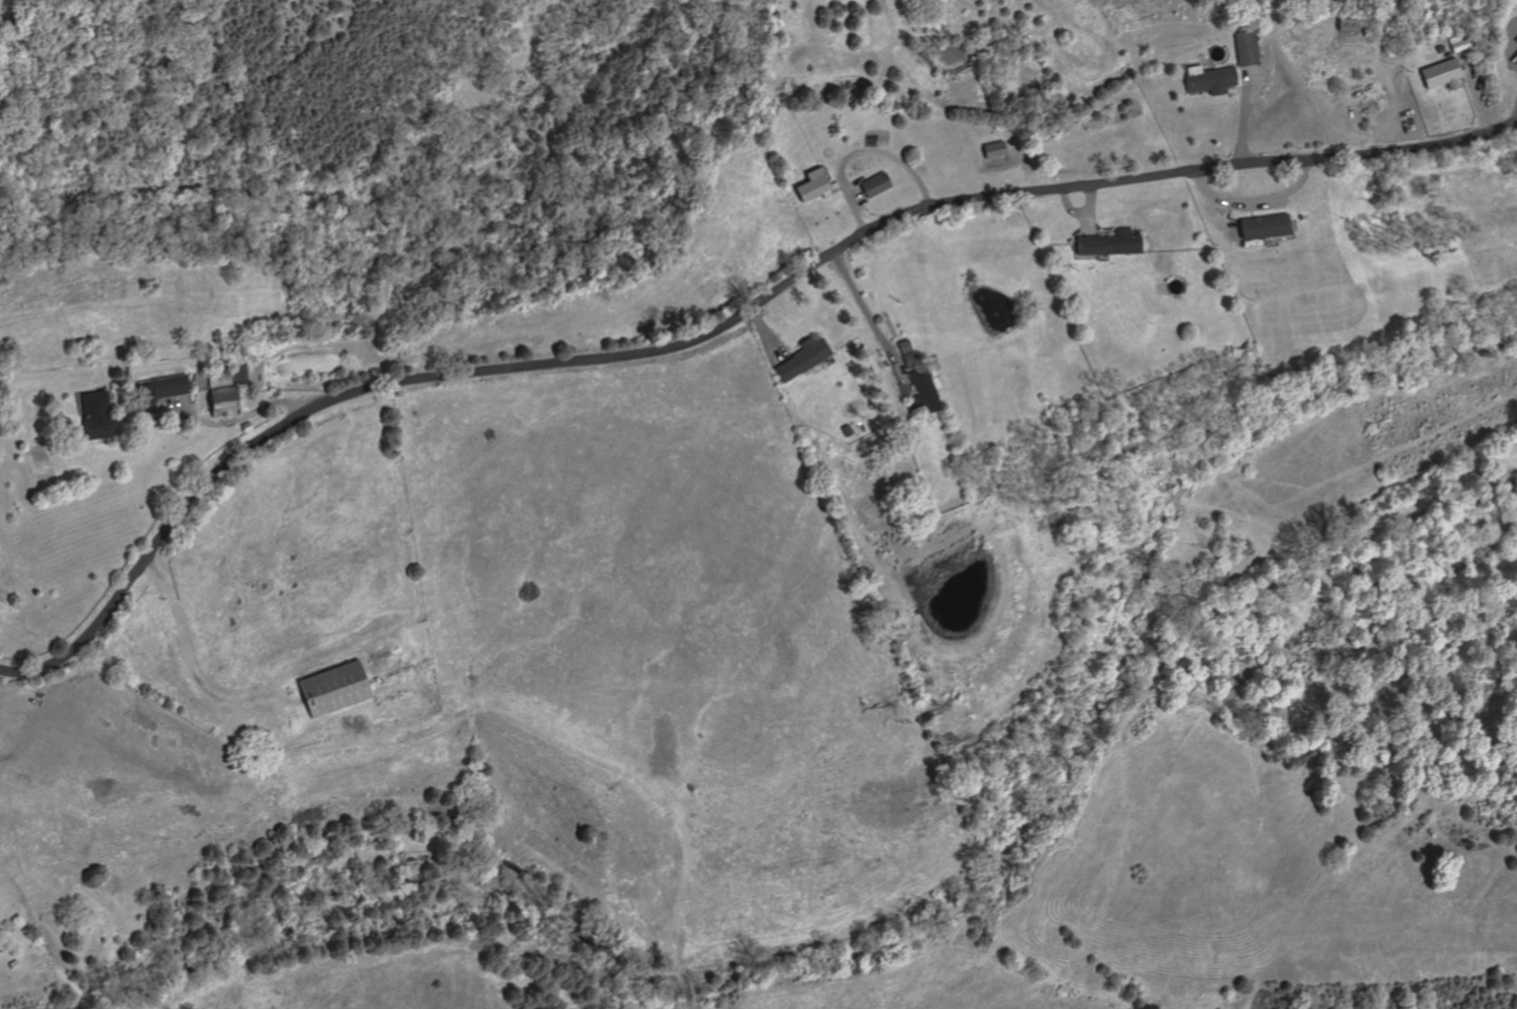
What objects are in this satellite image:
building: (1346, 24)
building: (1458, 45)
building: (1244, 46)
building: (1438, 49)
building: (1439, 74)
building: (1209, 80)
road: (1462, 80)
road: (1237, 89)
road: (1477, 98)
road: (1245, 114)
road: (1516, 120)
building: (993, 150)
road: (859, 152)
building: (875, 185)
building: (811, 186)
road: (1255, 204)
road: (1069, 208)
road: (1090, 210)
road: (1252, 211)
road: (1216, 218)
building: (1264, 226)
road: (1100, 231)
building: (1109, 243)
building: (1436, 248)
building: (1060, 265)
road: (866, 313)
road: (717, 326)
road: (766, 335)
building: (903, 347)
building: (801, 358)
building: (910, 360)
building: (899, 379)
building: (227, 390)
building: (160, 391)
building: (920, 392)
building: (98, 416)
road: (148, 416)
road: (238, 418)
building: (248, 427)
building: (845, 431)
building: (334, 688)
road: (447, 723)

